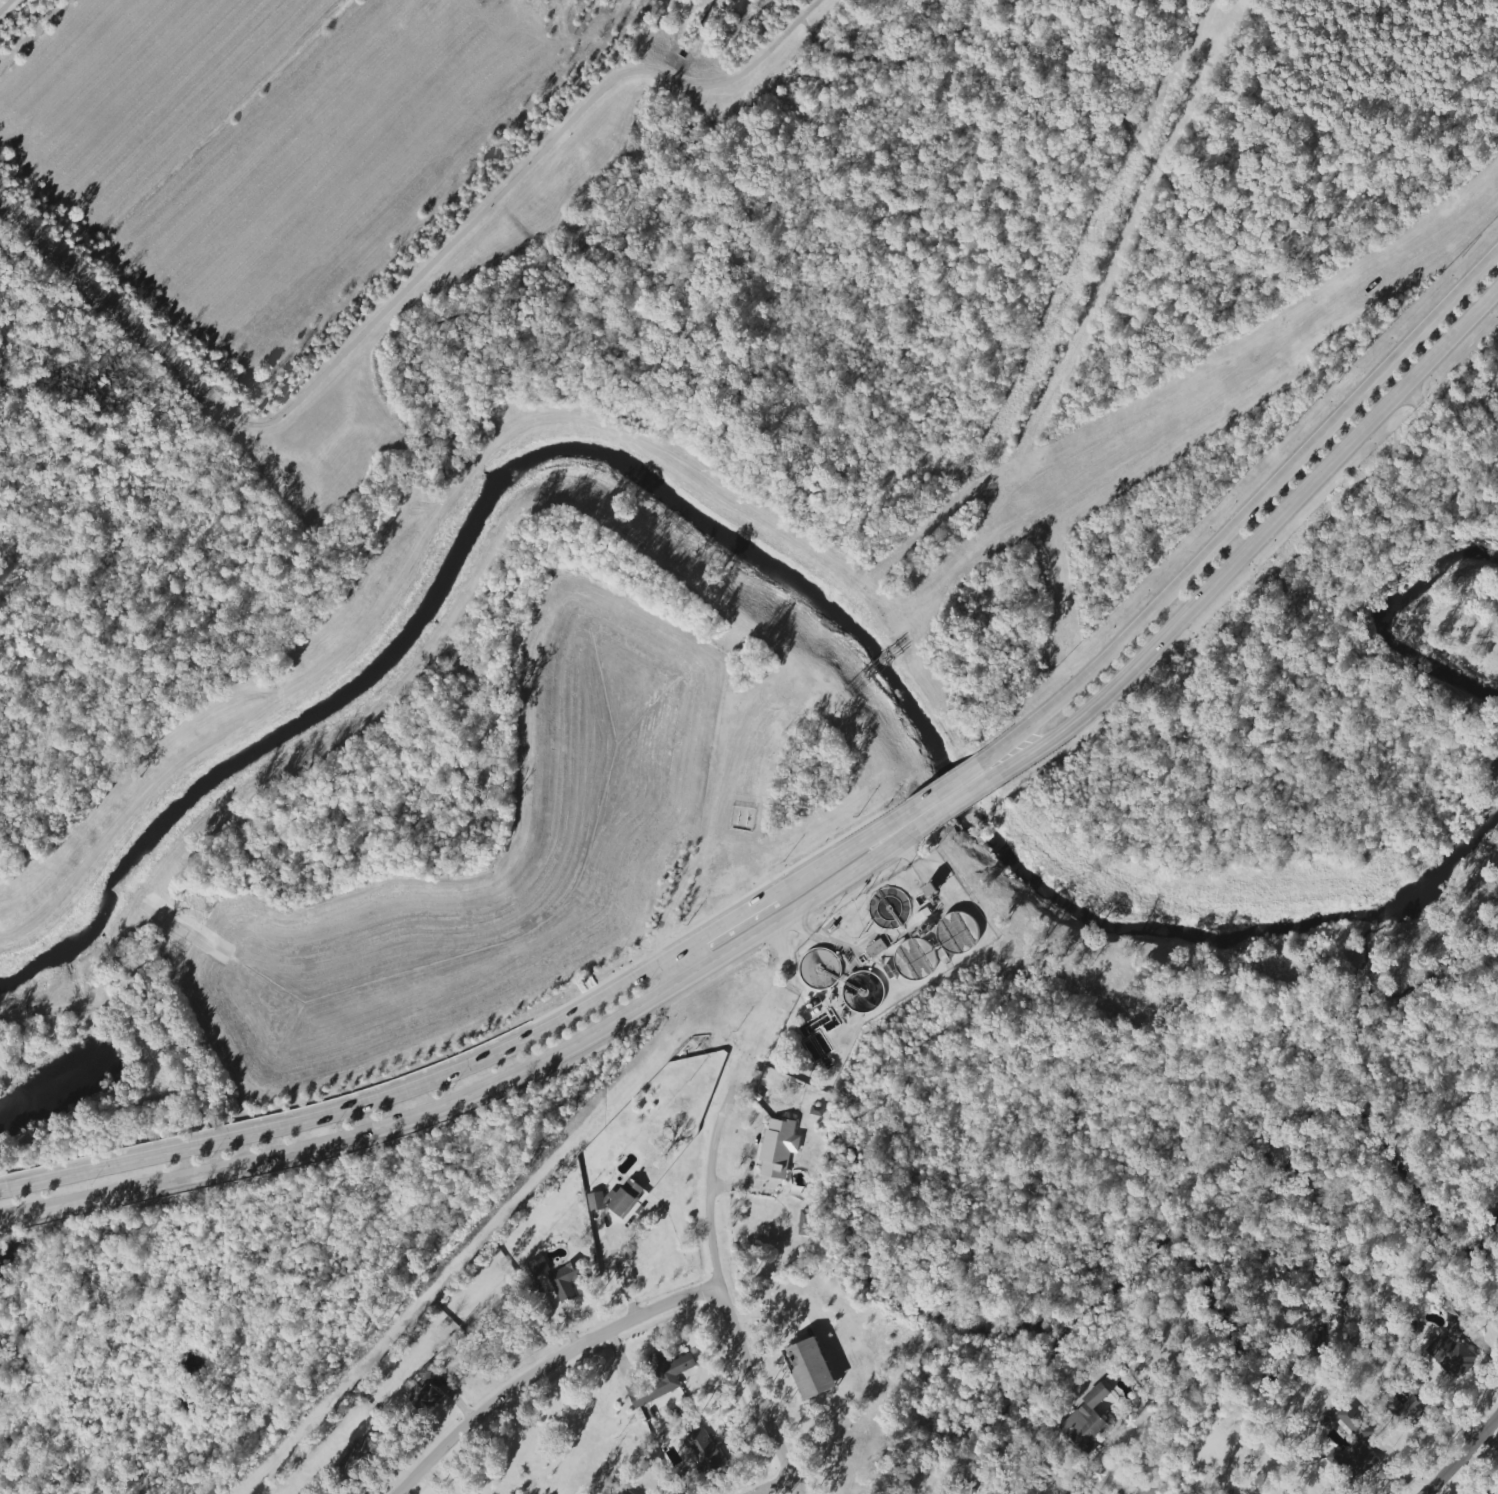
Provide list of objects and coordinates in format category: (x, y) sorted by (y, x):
road: (8, 8)
road: (910, 57)
road: (1257, 270)
road: (402, 293)
road: (1248, 507)
road: (1255, 540)
river: (1394, 629)
river: (864, 645)
river: (378, 661)
road: (946, 786)
river: (959, 799)
road: (957, 801)
road: (898, 830)
road: (839, 856)
river: (1458, 860)
river: (1069, 911)
river: (1308, 927)
road: (723, 929)
building: (958, 933)
road: (824, 942)
building: (875, 948)
road: (785, 963)
wastewater plant: (873, 964)
road: (679, 971)
road: (486, 1092)
road: (349, 1109)
building: (777, 1148)
building: (625, 1198)
building: (595, 1201)
building: (805, 1223)
road: (619, 1270)
building: (568, 1282)
road: (721, 1293)
building: (1452, 1349)
road: (543, 1367)
building: (809, 1368)
building: (426, 1394)
building: (1407, 1401)
building: (1086, 1421)
building: (1353, 1422)
building: (701, 1452)
road: (1462, 1456)
building: (357, 1459)
building: (1354, 1461)
road: (777, 1486)
building: (617, 1492)
building: (1485, 1492)
building: (1291, 1493)

